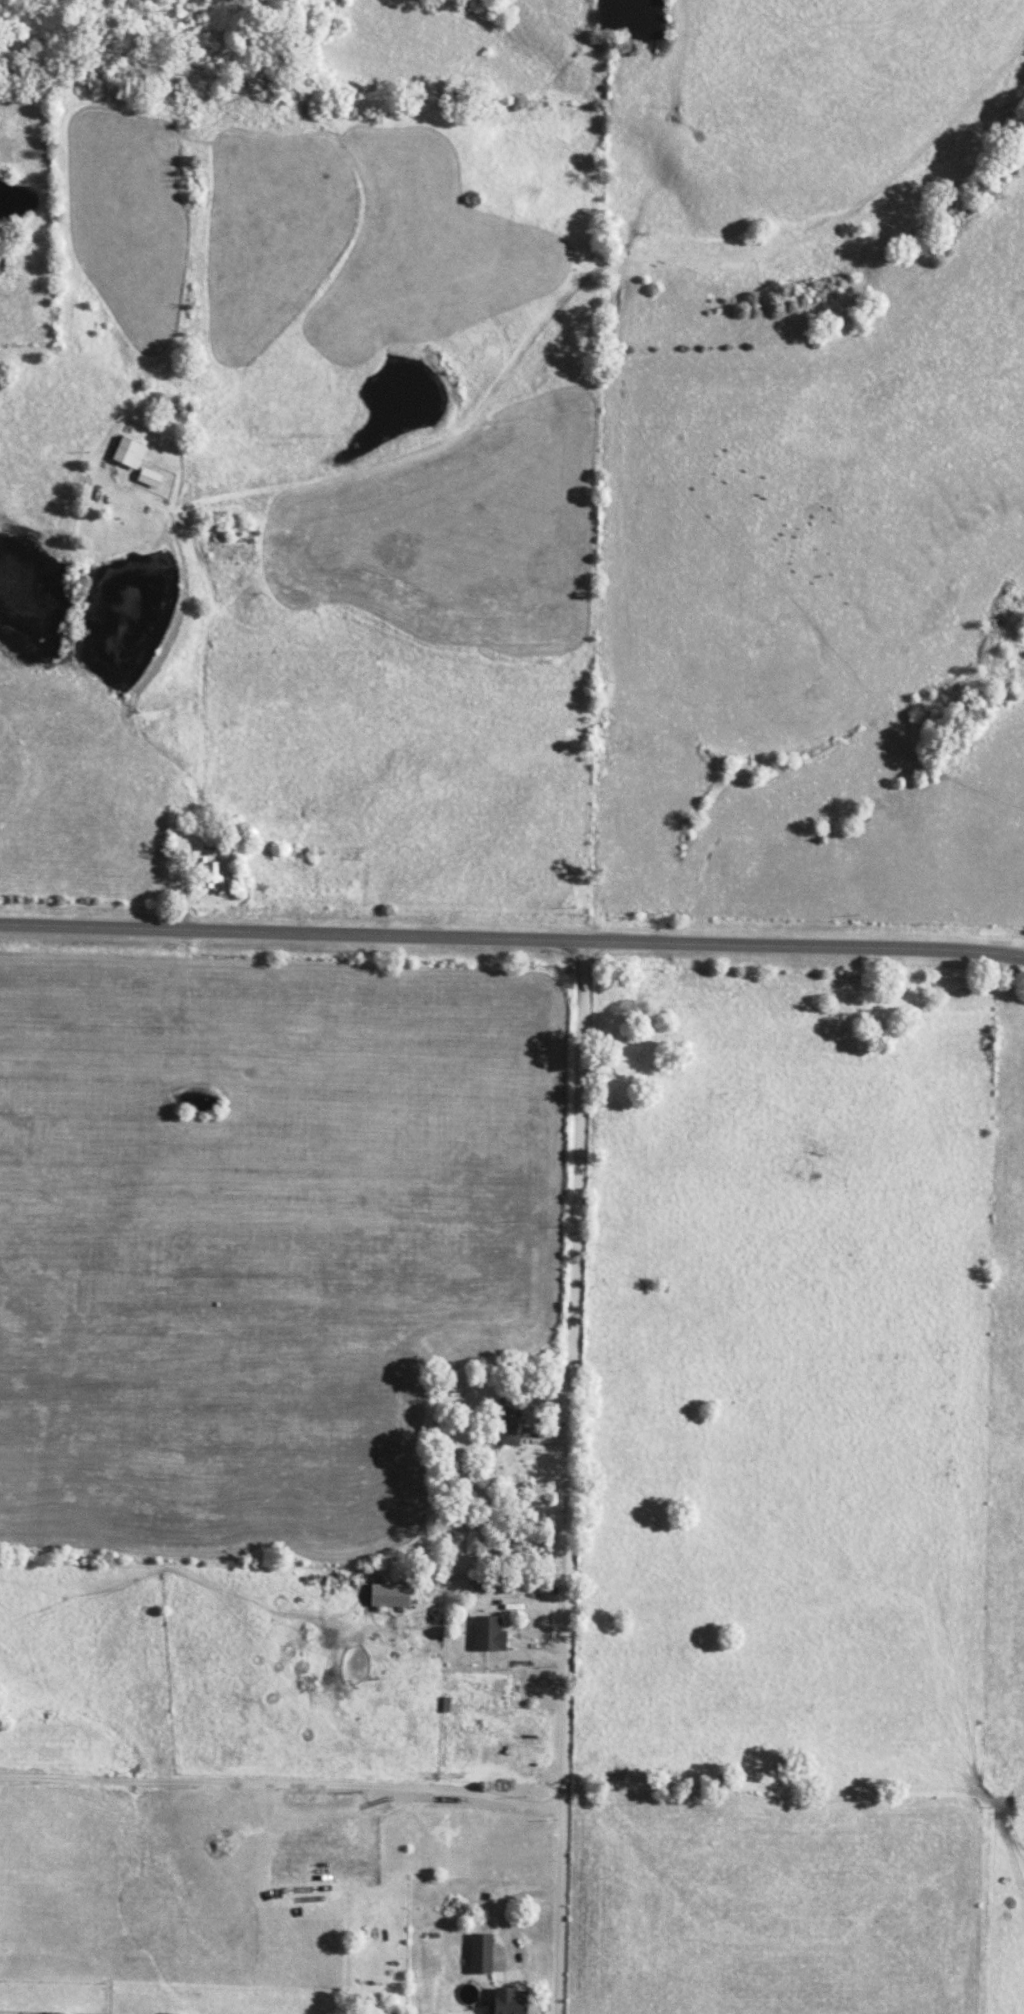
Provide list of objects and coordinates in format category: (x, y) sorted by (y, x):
building: (128, 453)
building: (210, 873)
road: (512, 935)
building: (507, 1421)
road: (572, 1475)
building: (389, 1595)
building: (488, 1634)
road: (282, 1783)
building: (480, 1953)
building: (507, 2001)

